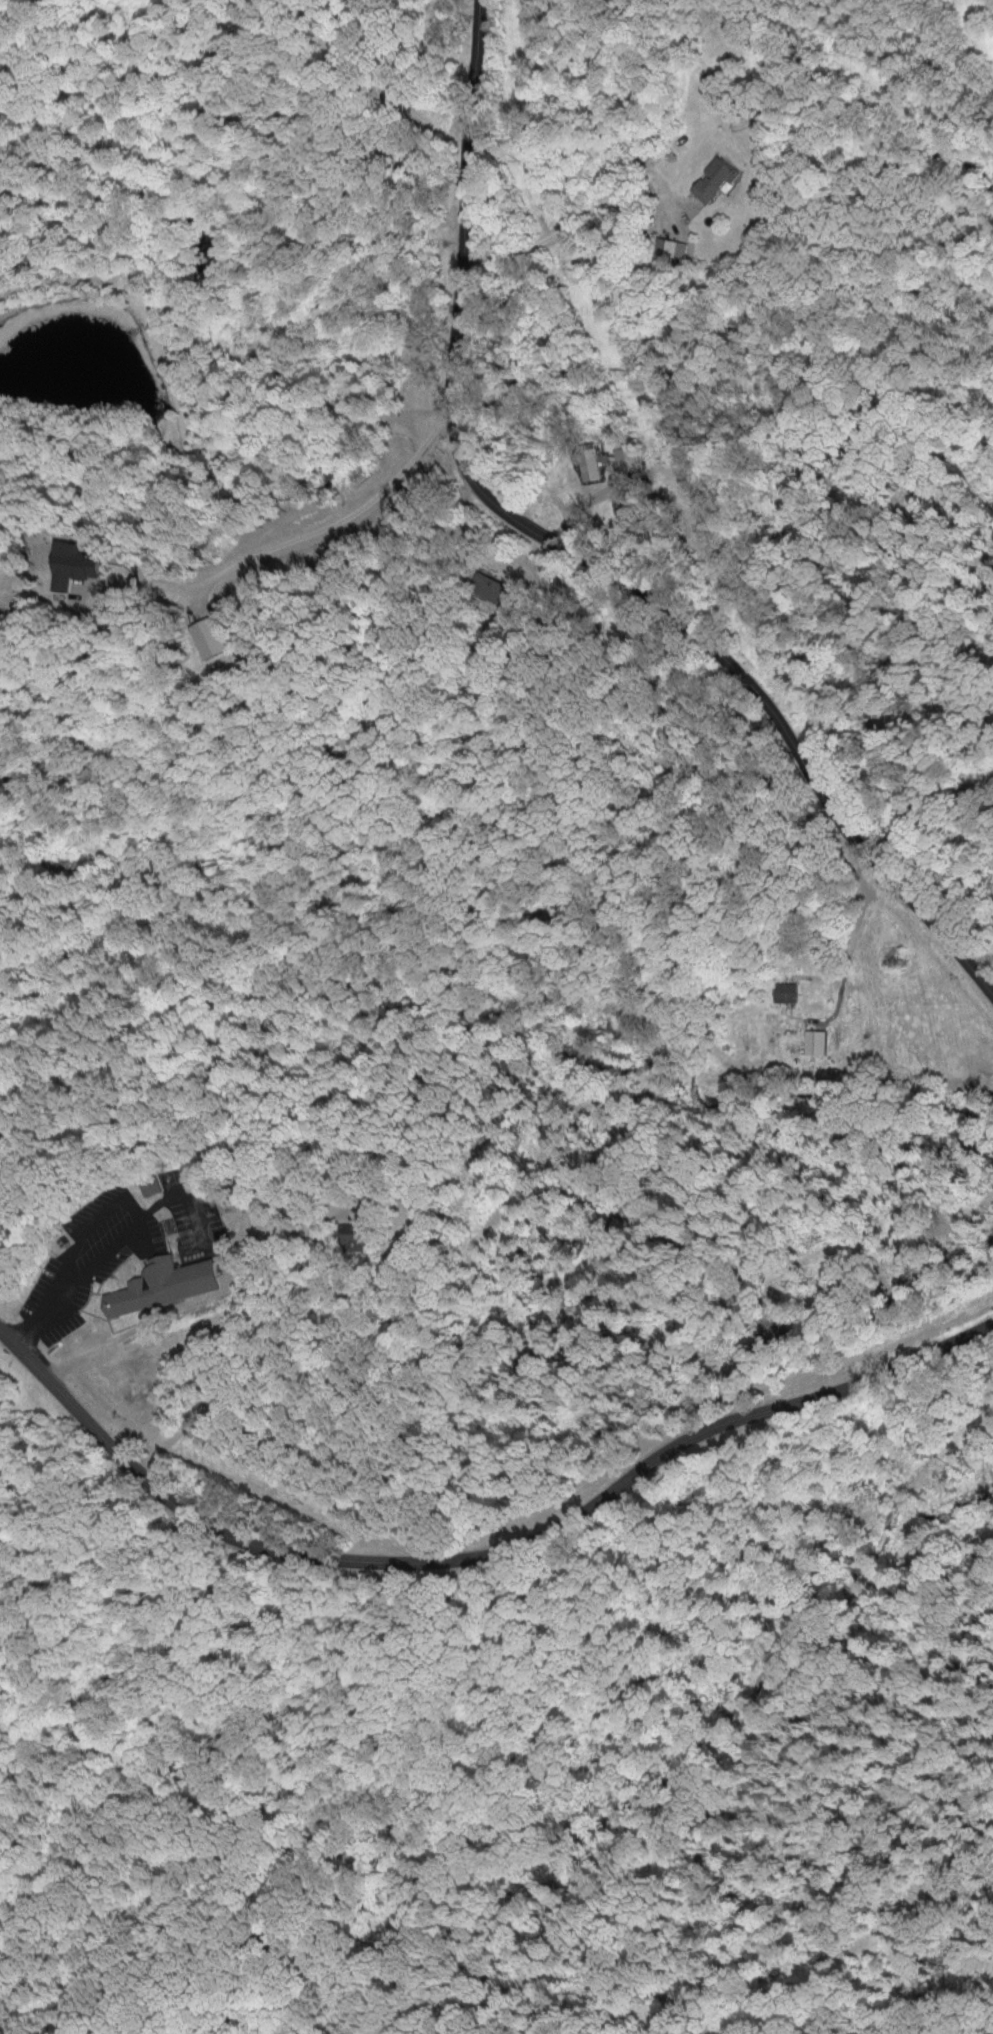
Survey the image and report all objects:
building: (711, 178)
building: (667, 248)
building: (622, 457)
building: (587, 461)
road: (335, 524)
road: (573, 559)
building: (67, 564)
building: (488, 587)
building: (204, 637)
building: (783, 993)
road: (876, 999)
building: (813, 1042)
road: (91, 1221)
building: (352, 1237)
road: (115, 1245)
building: (160, 1285)
road: (256, 1348)
road: (482, 1552)

